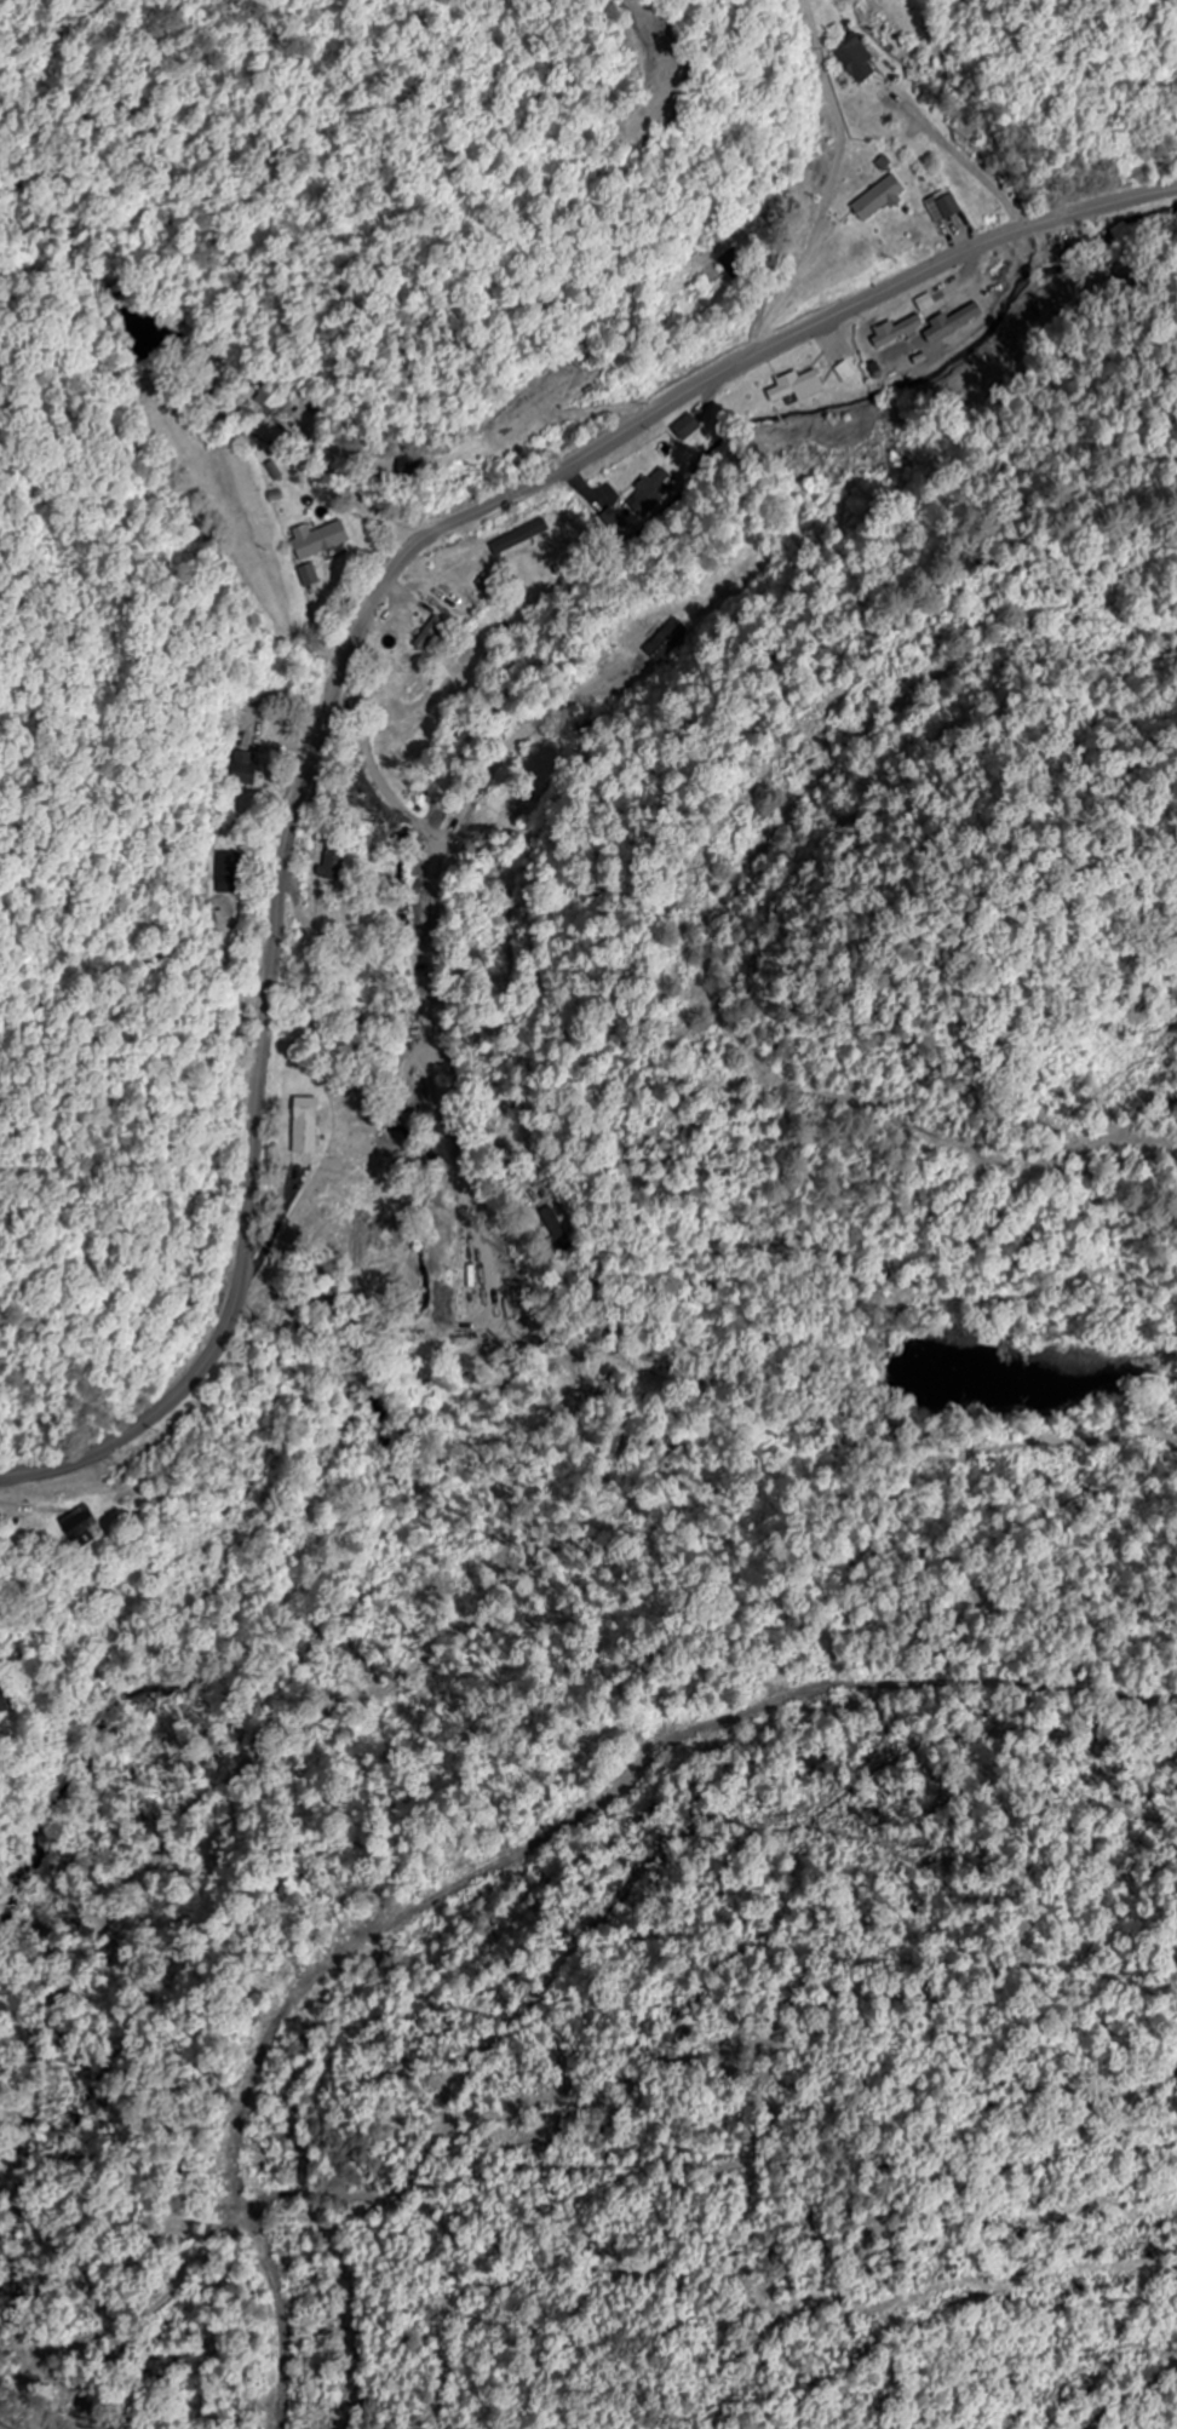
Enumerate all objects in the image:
building: (859, 58)
road: (970, 167)
building: (882, 196)
building: (952, 205)
road: (1097, 208)
building: (736, 262)
building: (897, 329)
building: (796, 384)
building: (688, 426)
building: (410, 464)
building: (653, 492)
building: (321, 538)
building: (431, 633)
road: (322, 730)
building: (247, 768)
building: (335, 862)
building: (232, 872)
road: (436, 943)
building: (308, 1125)
building: (556, 1228)
building: (84, 1526)
building: (4, 1698)

